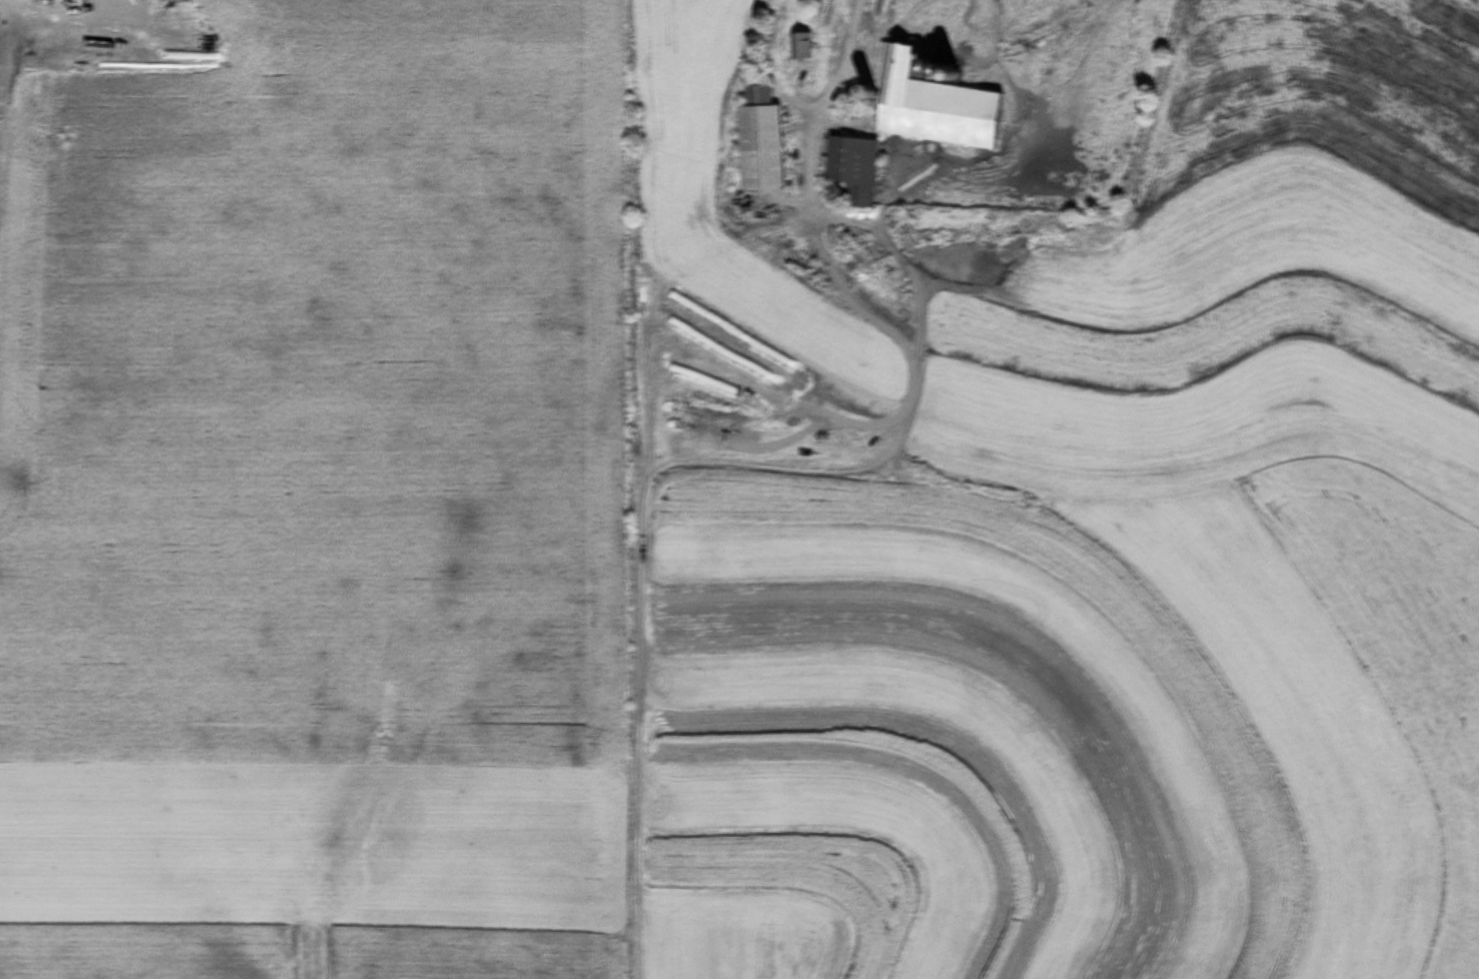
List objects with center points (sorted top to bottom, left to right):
building: (799, 49)
building: (928, 102)
building: (757, 141)
building: (848, 172)

